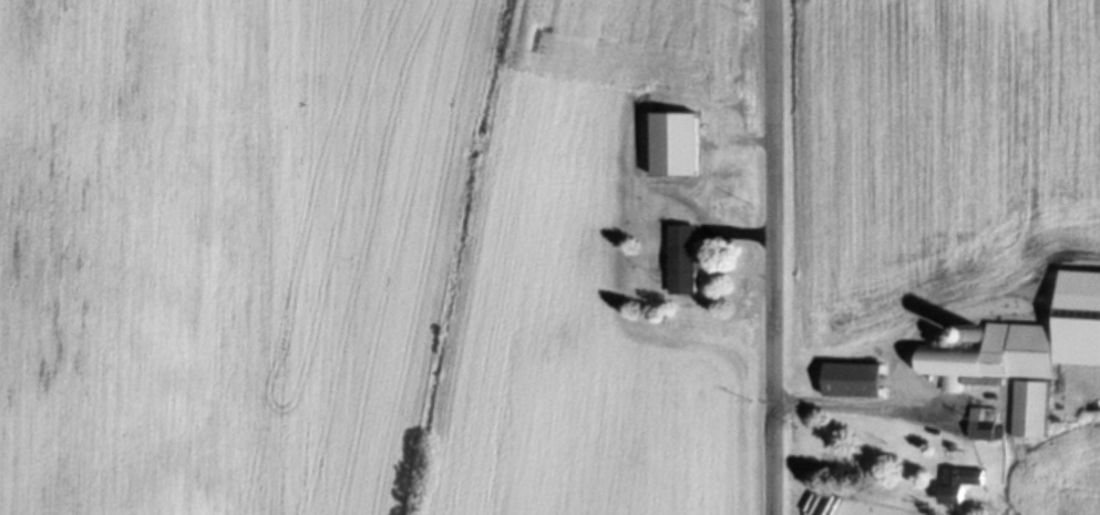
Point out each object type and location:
building: (674, 145)
road: (774, 257)
building: (681, 261)
building: (994, 358)
building: (851, 381)
road: (856, 405)
building: (1028, 411)
building: (981, 425)
building: (956, 485)

